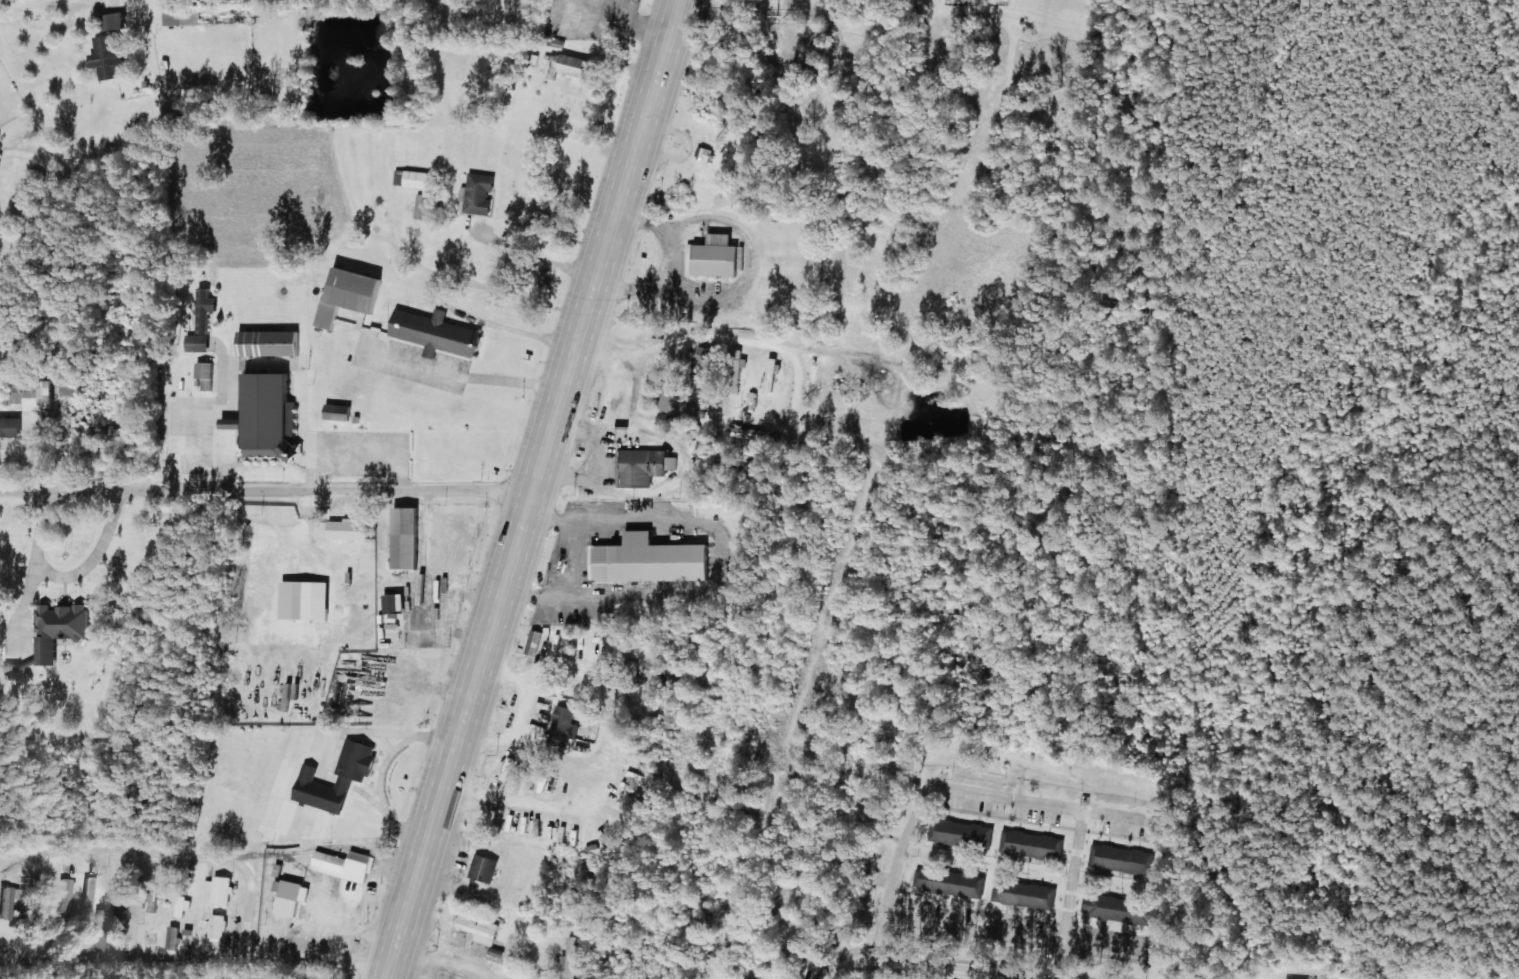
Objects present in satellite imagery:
building: (183, 14)
building: (110, 55)
road: (663, 59)
building: (576, 65)
building: (418, 178)
building: (479, 193)
building: (29, 196)
building: (425, 206)
building: (31, 246)
building: (716, 256)
building: (351, 294)
building: (270, 343)
building: (773, 373)
building: (206, 375)
building: (34, 394)
building: (680, 405)
building: (340, 411)
building: (268, 414)
building: (670, 423)
building: (11, 426)
building: (117, 432)
building: (750, 432)
building: (645, 466)
road: (266, 487)
building: (351, 529)
building: (407, 538)
road: (514, 548)
building: (652, 560)
building: (426, 598)
building: (308, 600)
building: (397, 602)
building: (60, 628)
building: (535, 642)
road: (287, 702)
building: (565, 723)
building: (355, 775)
building: (518, 821)
building: (609, 832)
building: (966, 833)
building: (1032, 844)
building: (1120, 859)
building: (346, 864)
building: (485, 867)
building: (951, 882)
building: (221, 890)
building: (87, 892)
building: (1028, 893)
building: (65, 894)
building: (293, 895)
building: (154, 899)
building: (7, 900)
building: (1119, 909)
building: (219, 926)
building: (99, 930)
building: (476, 930)
building: (174, 937)
building: (572, 959)
building: (1300, 978)

